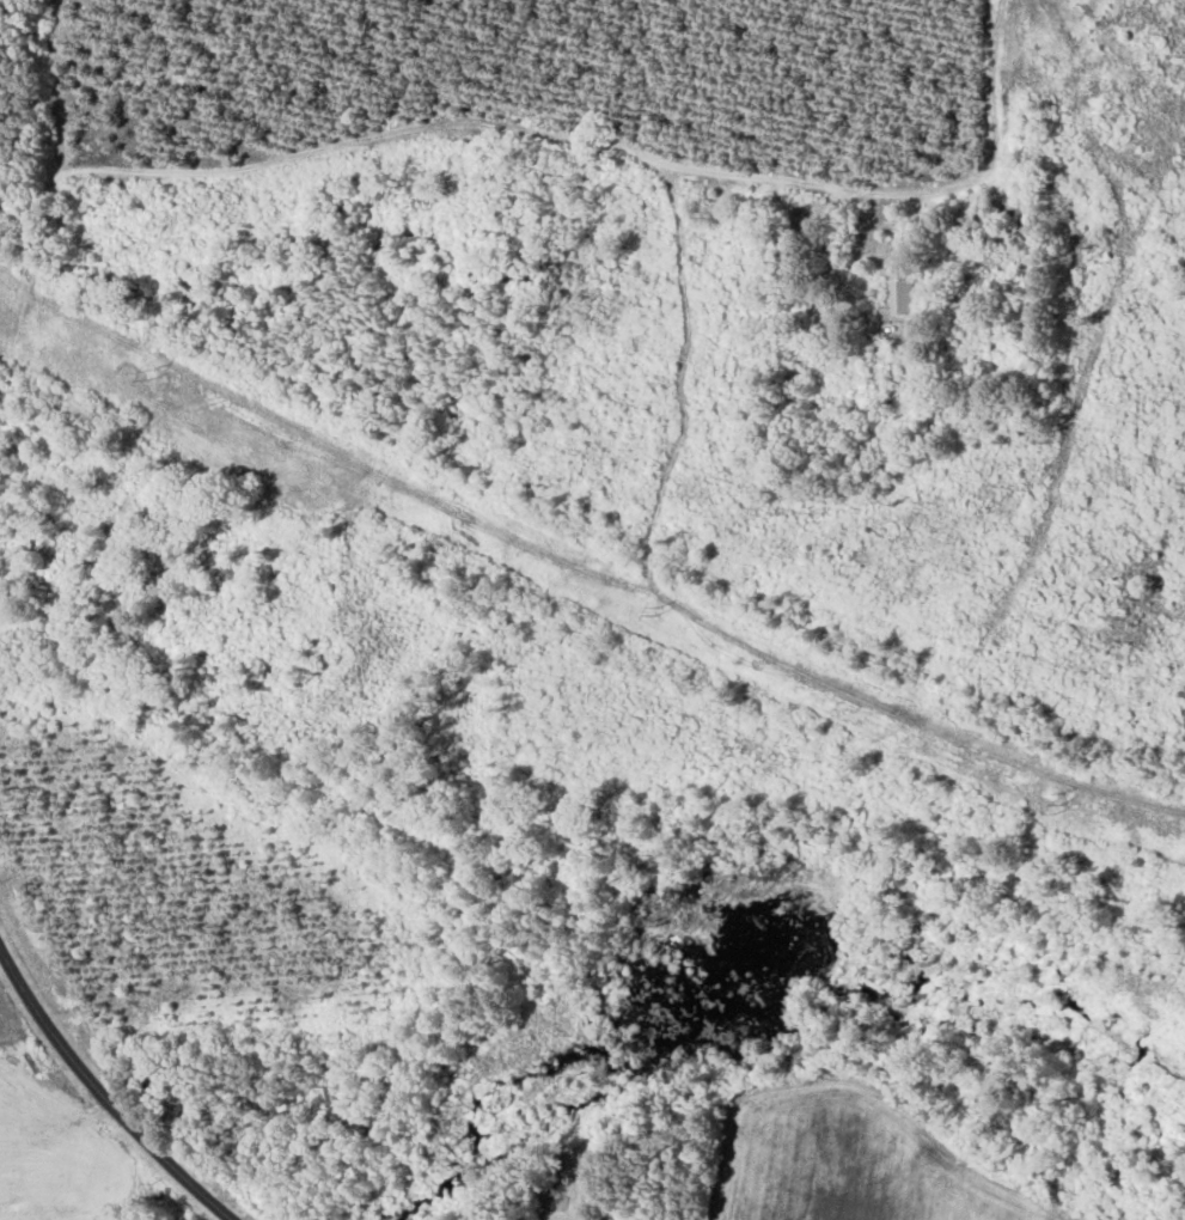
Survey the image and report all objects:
building: (900, 295)
building: (811, 354)
power tower: (151, 373)
power tower: (656, 610)
power tower: (1059, 803)
road: (103, 1097)

